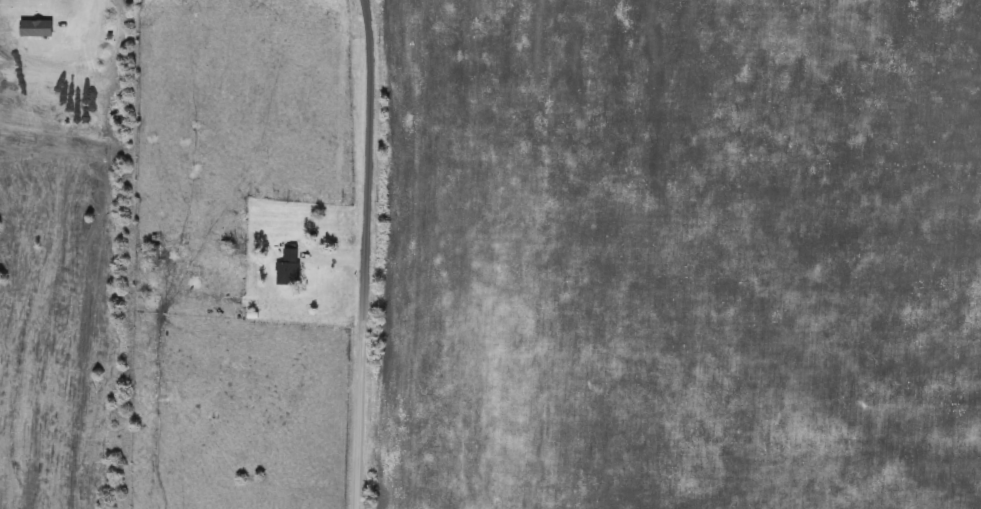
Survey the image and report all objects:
building: (37, 29)
building: (61, 29)
road: (343, 126)
road: (337, 254)
road: (367, 254)
building: (155, 257)
building: (289, 269)

